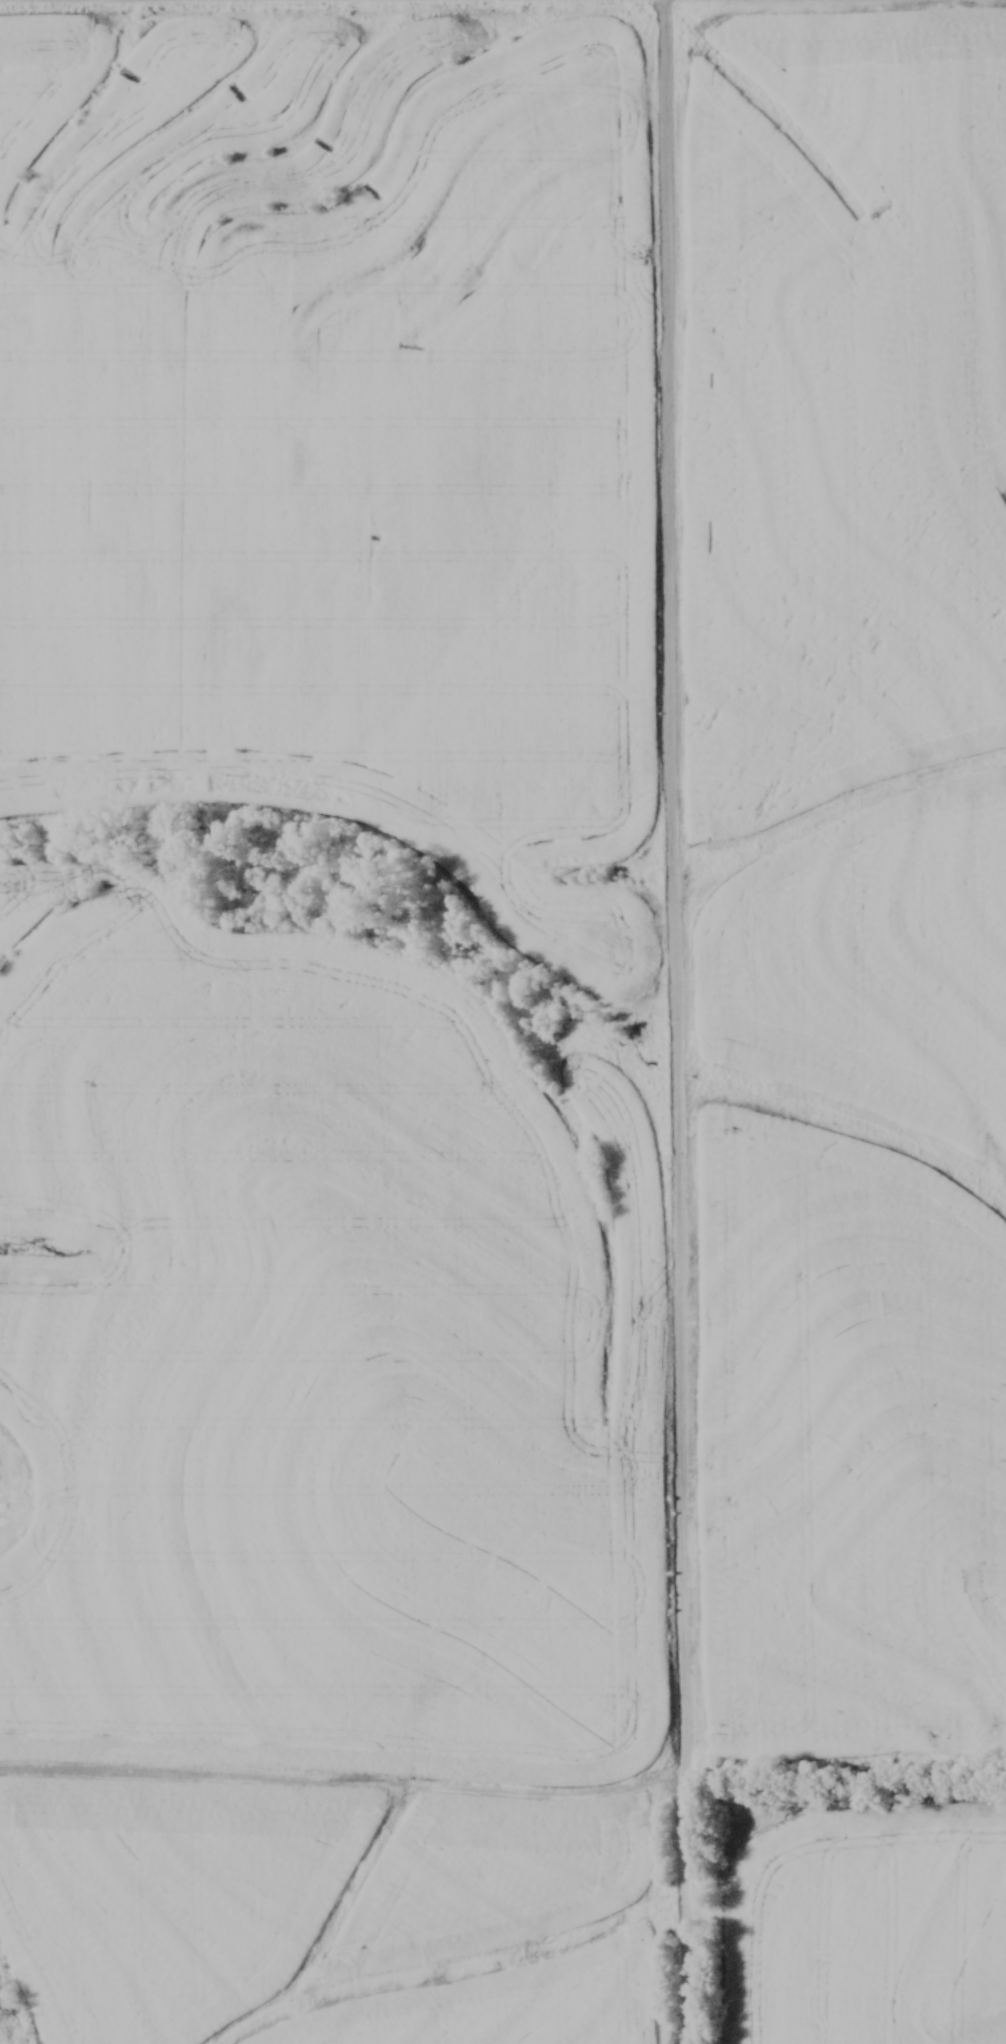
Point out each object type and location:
road: (678, 1021)

